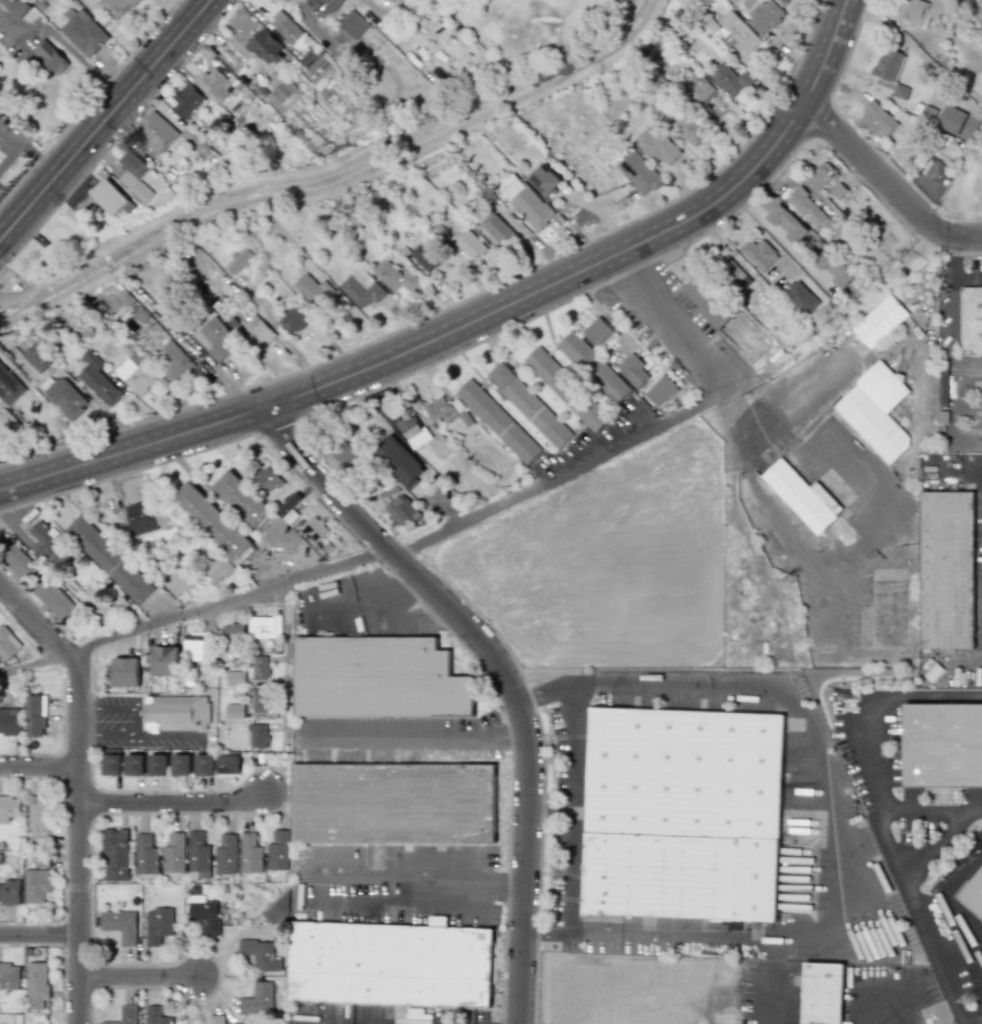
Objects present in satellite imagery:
building: (391, 1)
building: (787, 1)
road: (370, 3)
building: (17, 7)
building: (118, 7)
building: (325, 7)
building: (416, 7)
building: (923, 11)
building: (765, 16)
road: (313, 23)
building: (354, 24)
road: (44, 26)
building: (285, 27)
building: (83, 32)
building: (732, 32)
building: (265, 47)
building: (50, 57)
building: (889, 65)
building: (729, 80)
road: (105, 83)
building: (213, 85)
building: (698, 88)
building: (901, 92)
building: (283, 96)
building: (185, 100)
building: (929, 113)
road: (103, 118)
building: (878, 120)
building: (951, 120)
building: (156, 131)
building: (691, 132)
road: (118, 134)
building: (310, 141)
building: (195, 142)
building: (656, 147)
road: (27, 150)
building: (639, 173)
building: (822, 175)
building: (134, 176)
building: (545, 180)
road: (884, 181)
building: (111, 198)
power tower: (626, 205)
building: (530, 207)
building: (806, 207)
building: (787, 224)
building: (499, 230)
building: (440, 233)
road: (778, 239)
building: (468, 243)
building: (759, 254)
building: (425, 257)
building: (238, 261)
building: (834, 268)
building: (733, 273)
building: (395, 276)
road: (968, 279)
building: (362, 288)
building: (313, 290)
building: (801, 297)
road: (954, 298)
road: (461, 300)
building: (707, 303)
road: (475, 317)
building: (294, 318)
building: (882, 321)
building: (972, 321)
road: (666, 324)
road: (363, 325)
building: (598, 331)
building: (257, 332)
road: (284, 334)
building: (215, 340)
building: (38, 358)
building: (173, 362)
building: (595, 367)
building: (634, 369)
building: (134, 372)
building: (99, 380)
building: (884, 386)
building: (9, 387)
building: (567, 388)
building: (662, 390)
building: (66, 397)
road: (614, 405)
building: (531, 406)
road: (33, 408)
building: (437, 408)
road: (680, 416)
building: (499, 421)
building: (874, 424)
building: (9, 425)
building: (413, 431)
building: (440, 447)
building: (345, 453)
building: (399, 461)
building: (268, 479)
building: (242, 497)
building: (804, 497)
building: (289, 508)
building: (401, 510)
building: (139, 520)
building: (212, 521)
building: (314, 530)
building: (46, 544)
building: (108, 559)
building: (16, 560)
building: (949, 570)
building: (217, 571)
parking lot: (980, 575)
building: (180, 583)
power tower: (791, 583)
road: (387, 590)
building: (54, 600)
road: (195, 611)
building: (104, 613)
building: (265, 626)
building: (233, 636)
building: (7, 645)
building: (195, 646)
building: (165, 660)
road: (286, 664)
building: (259, 668)
road: (503, 670)
building: (125, 672)
building: (235, 678)
building: (380, 679)
road: (864, 697)
building: (259, 701)
road: (86, 710)
road: (114, 710)
building: (234, 711)
building: (177, 713)
building: (35, 716)
building: (9, 721)
road: (135, 723)
building: (256, 735)
road: (86, 736)
road: (114, 736)
road: (167, 736)
road: (64, 738)
road: (417, 743)
building: (942, 745)
building: (112, 764)
building: (134, 764)
building: (158, 764)
building: (228, 764)
building: (181, 765)
building: (205, 765)
road: (39, 767)
road: (79, 789)
building: (397, 804)
road: (174, 806)
building: (9, 808)
road: (574, 809)
building: (38, 813)
road: (551, 813)
road: (928, 813)
building: (683, 814)
road: (94, 819)
road: (834, 833)
road: (933, 846)
building: (279, 851)
building: (199, 852)
building: (174, 853)
building: (251, 853)
building: (116, 855)
building: (146, 855)
building: (226, 855)
building: (42, 862)
road: (898, 865)
building: (36, 885)
building: (10, 892)
road: (418, 892)
building: (974, 894)
road: (506, 898)
road: (947, 906)
building: (278, 910)
building: (205, 914)
building: (120, 925)
building: (158, 925)
road: (39, 934)
building: (257, 953)
road: (63, 954)
building: (394, 965)
building: (10, 975)
road: (139, 978)
building: (37, 985)
building: (823, 993)
road: (774, 995)
building: (258, 999)
power tower: (971, 1001)
road: (891, 1005)
building: (124, 1016)
building: (155, 1016)
building: (38, 1018)
building: (216, 1019)

